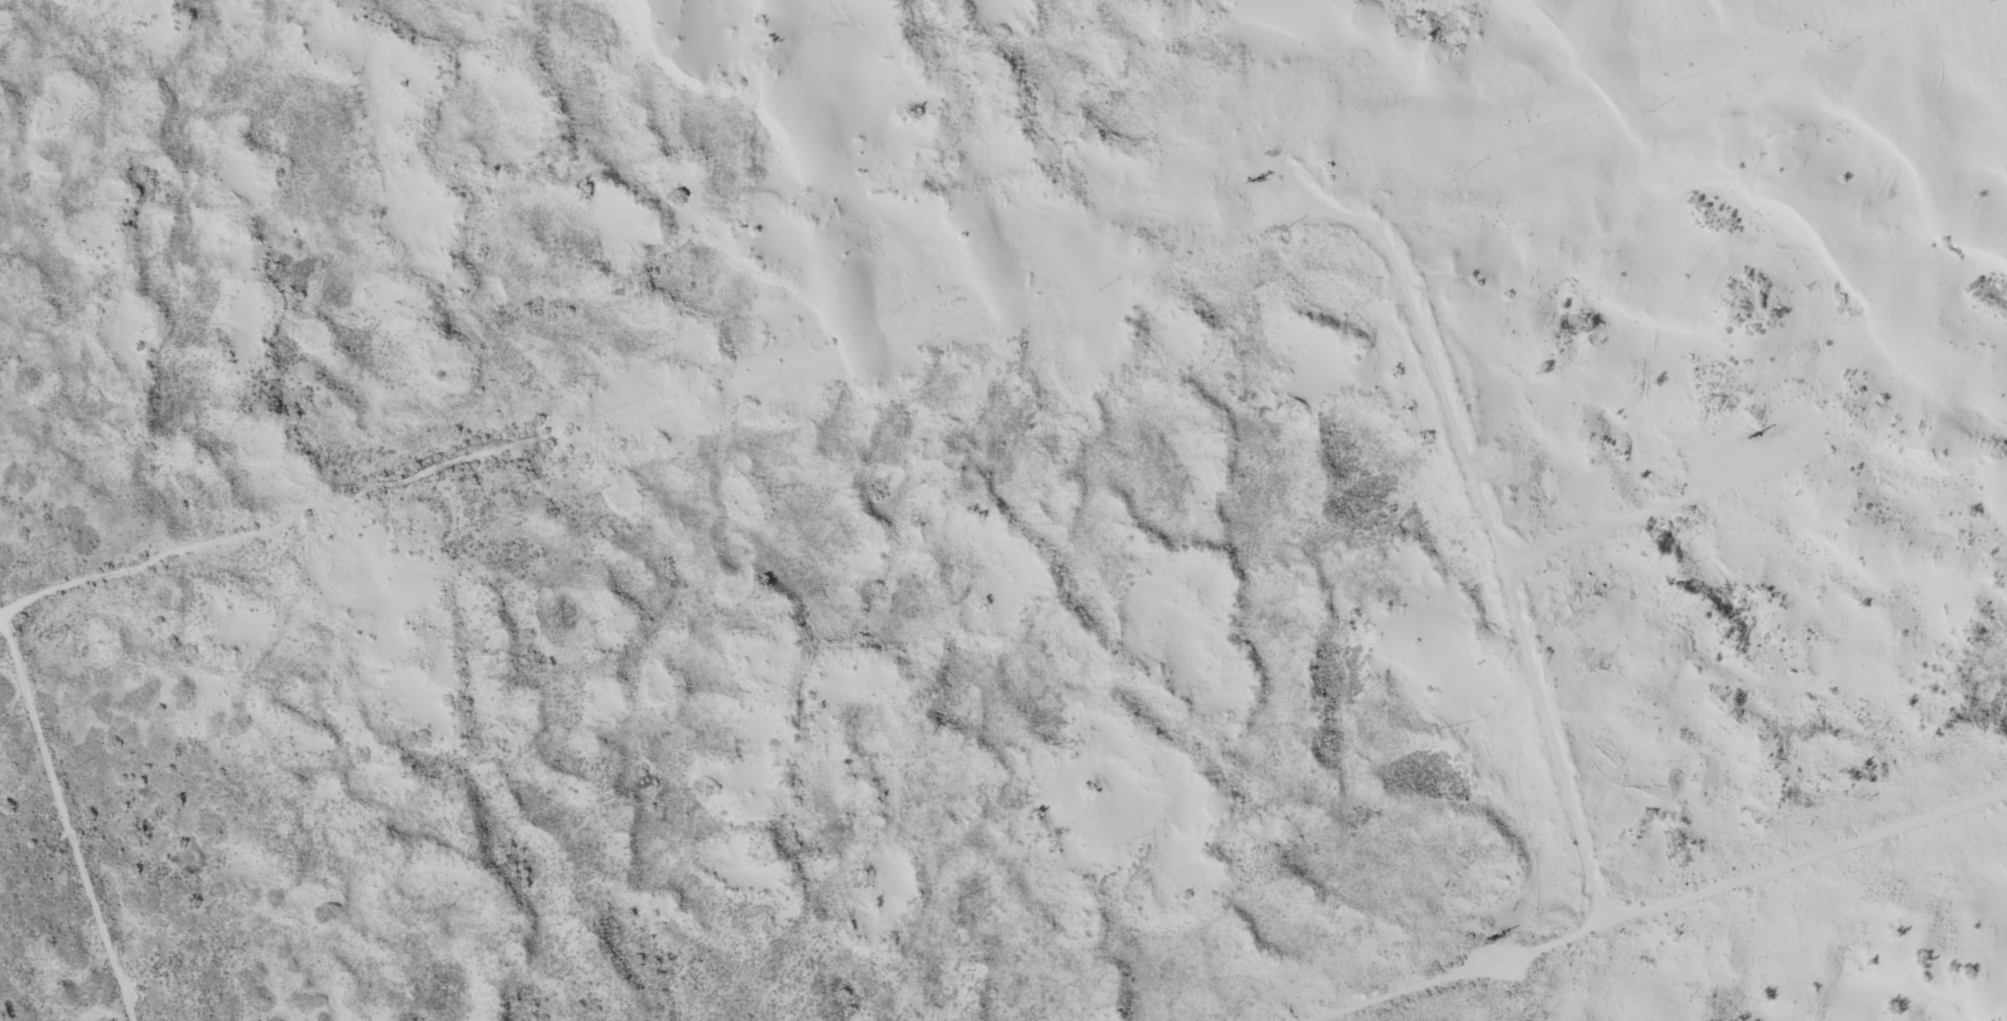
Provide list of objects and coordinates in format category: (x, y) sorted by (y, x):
road: (190, 566)
road: (72, 828)

